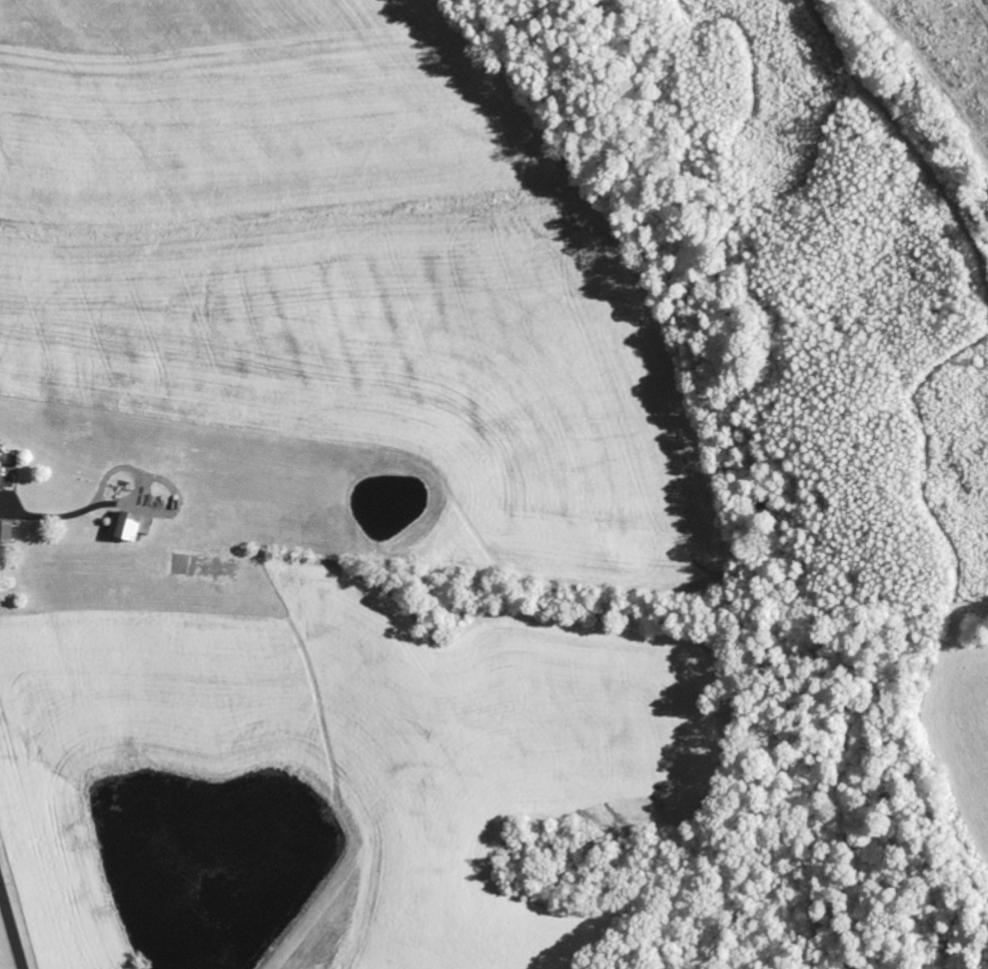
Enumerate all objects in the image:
building: (6, 465)
building: (137, 525)
building: (9, 531)
road: (12, 922)

